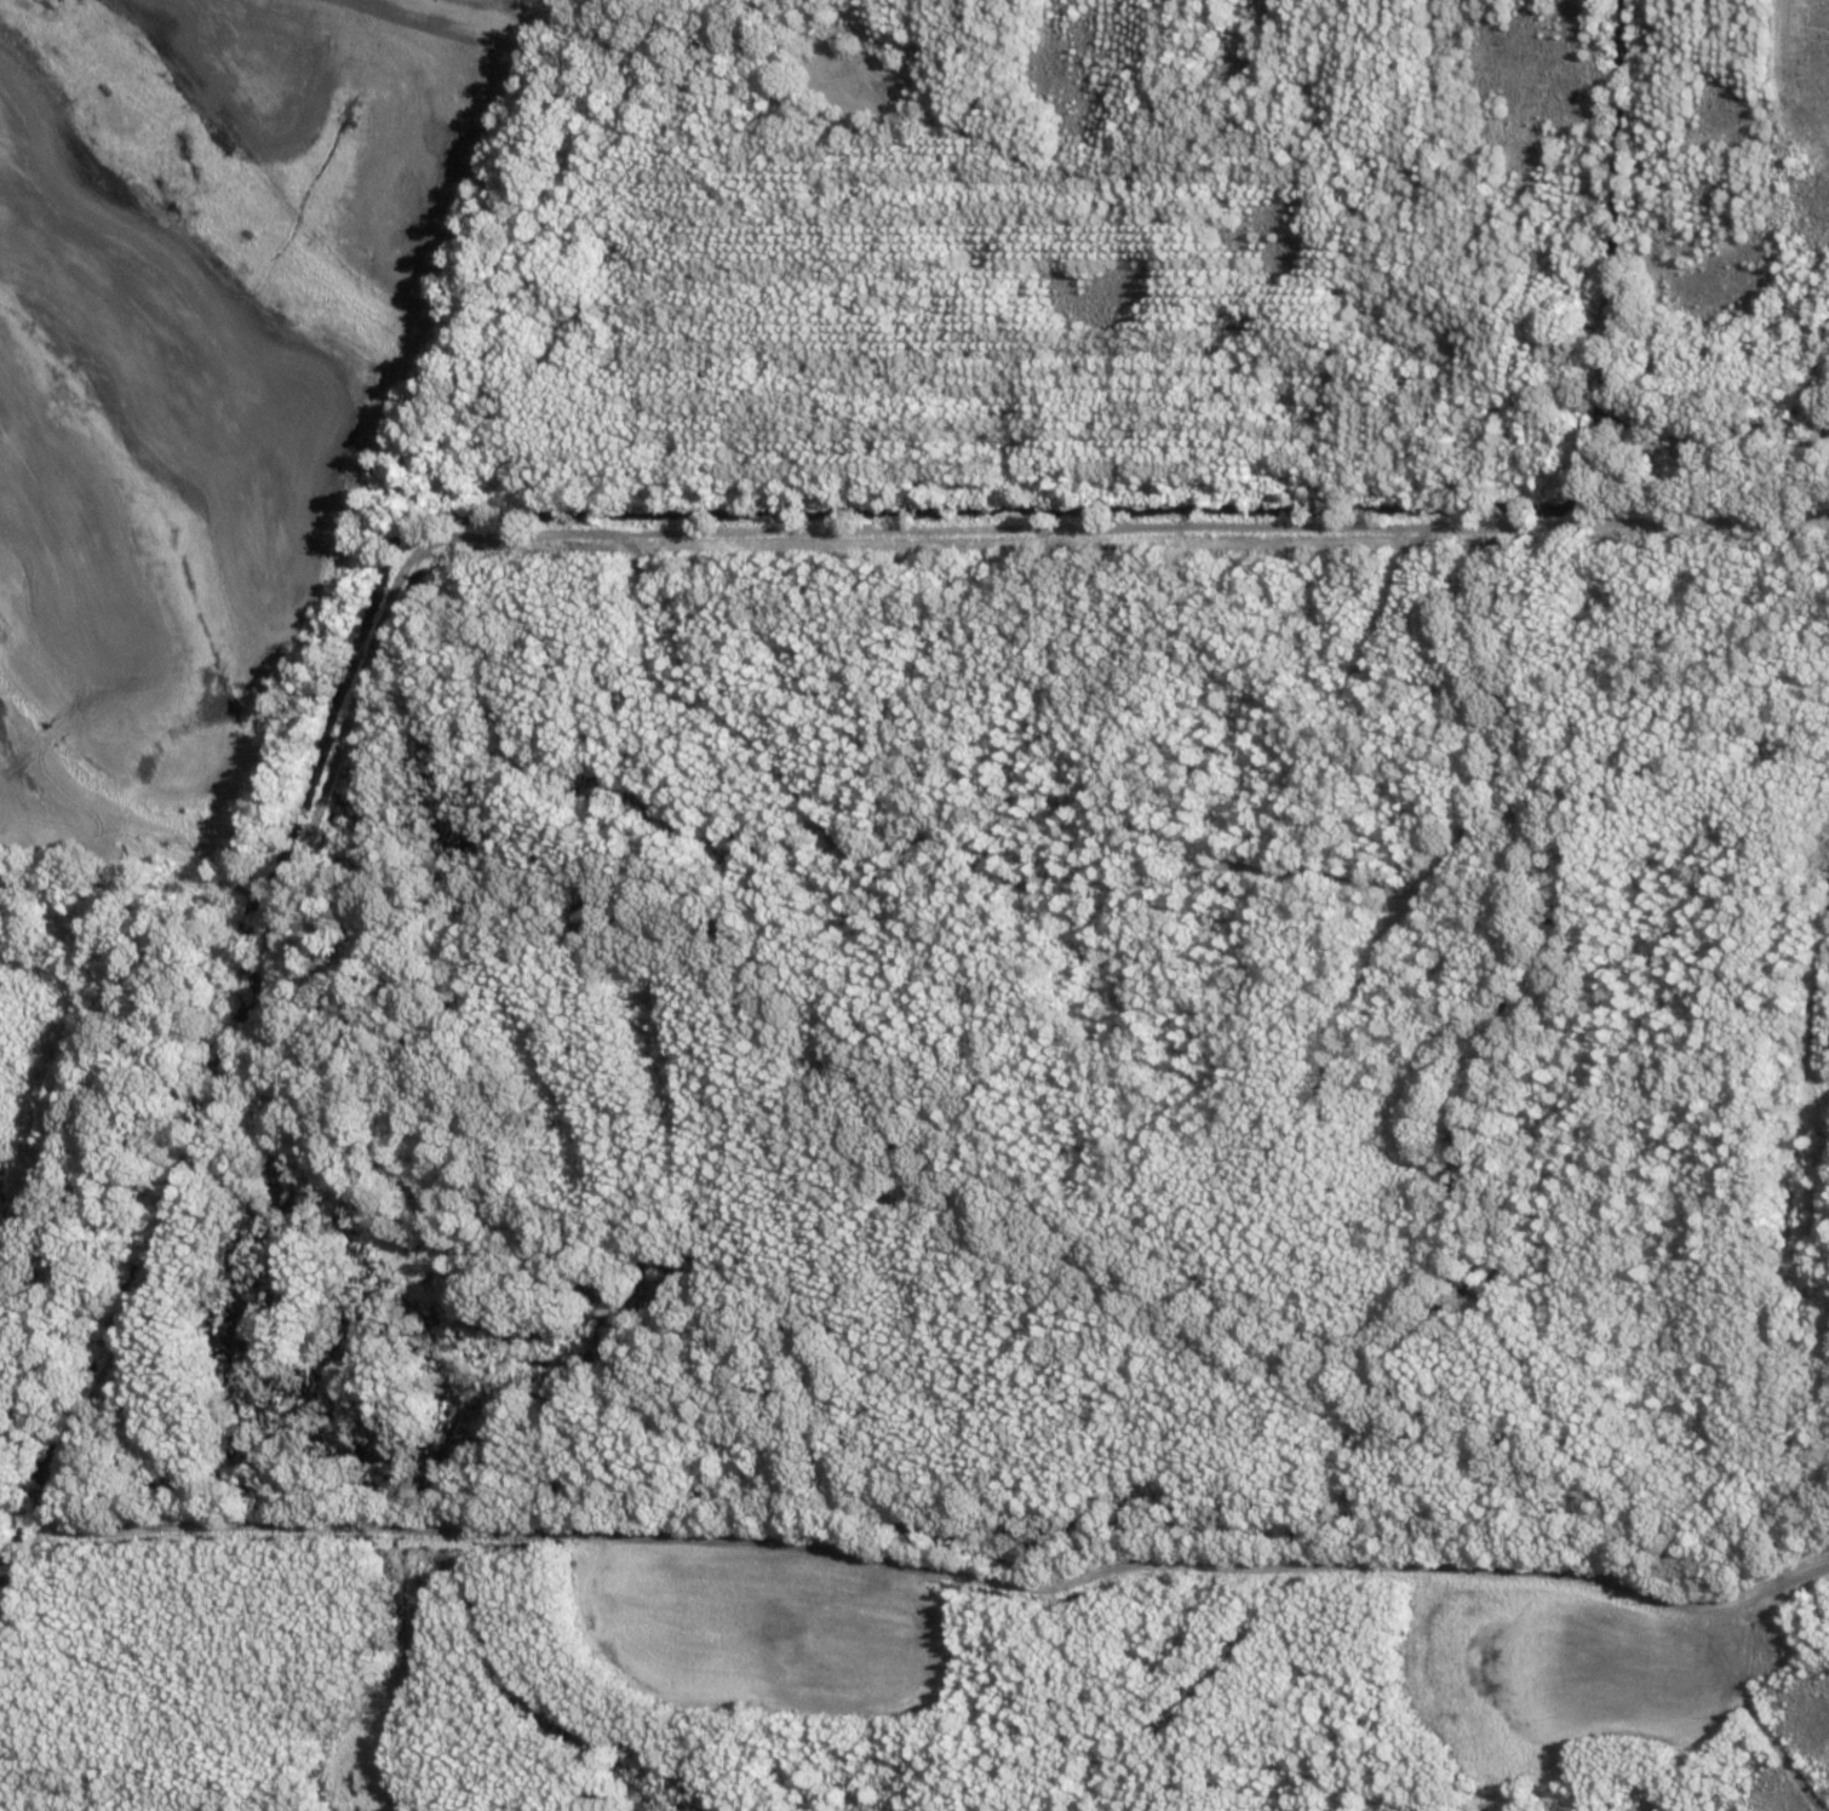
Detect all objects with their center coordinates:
road: (694, 492)

